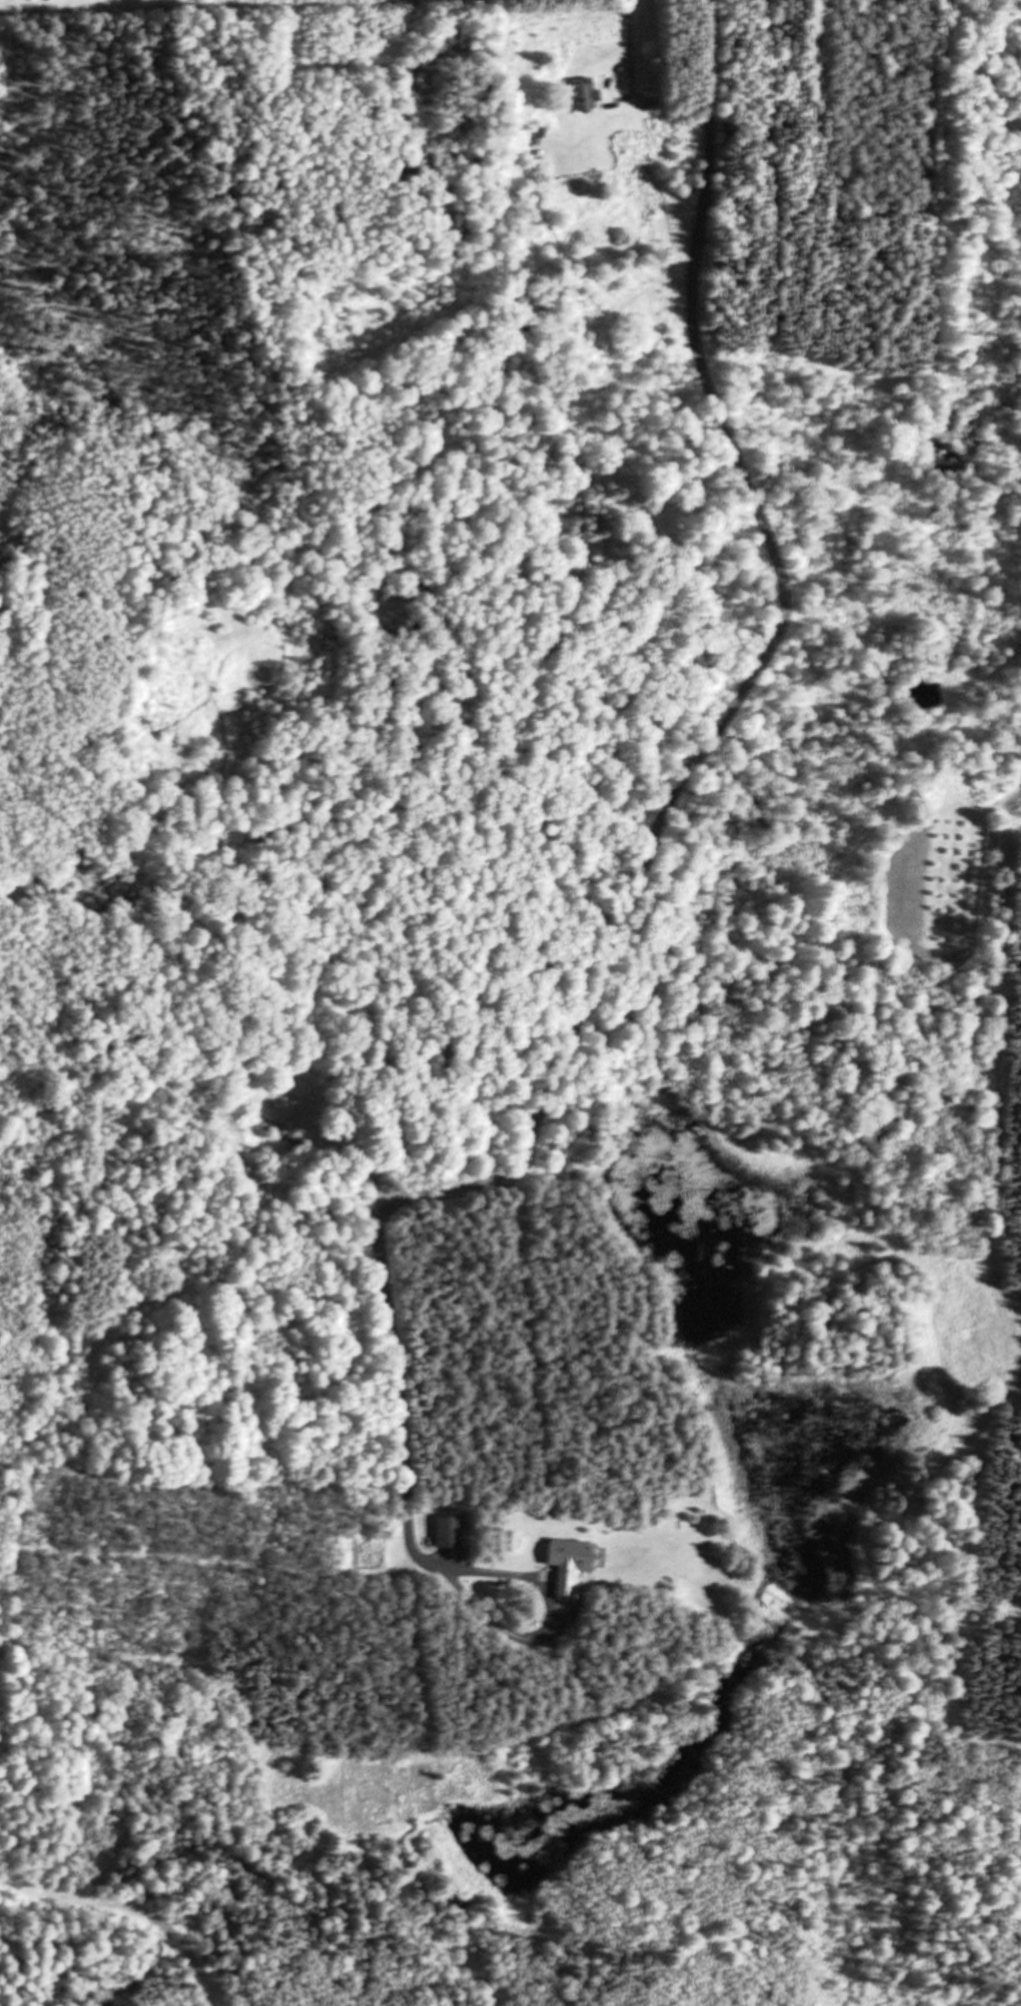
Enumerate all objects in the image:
road: (627, 43)
building: (588, 94)
building: (651, 98)
road: (652, 829)
building: (452, 1531)
building: (573, 1563)
road: (550, 1624)
road: (129, 1909)

